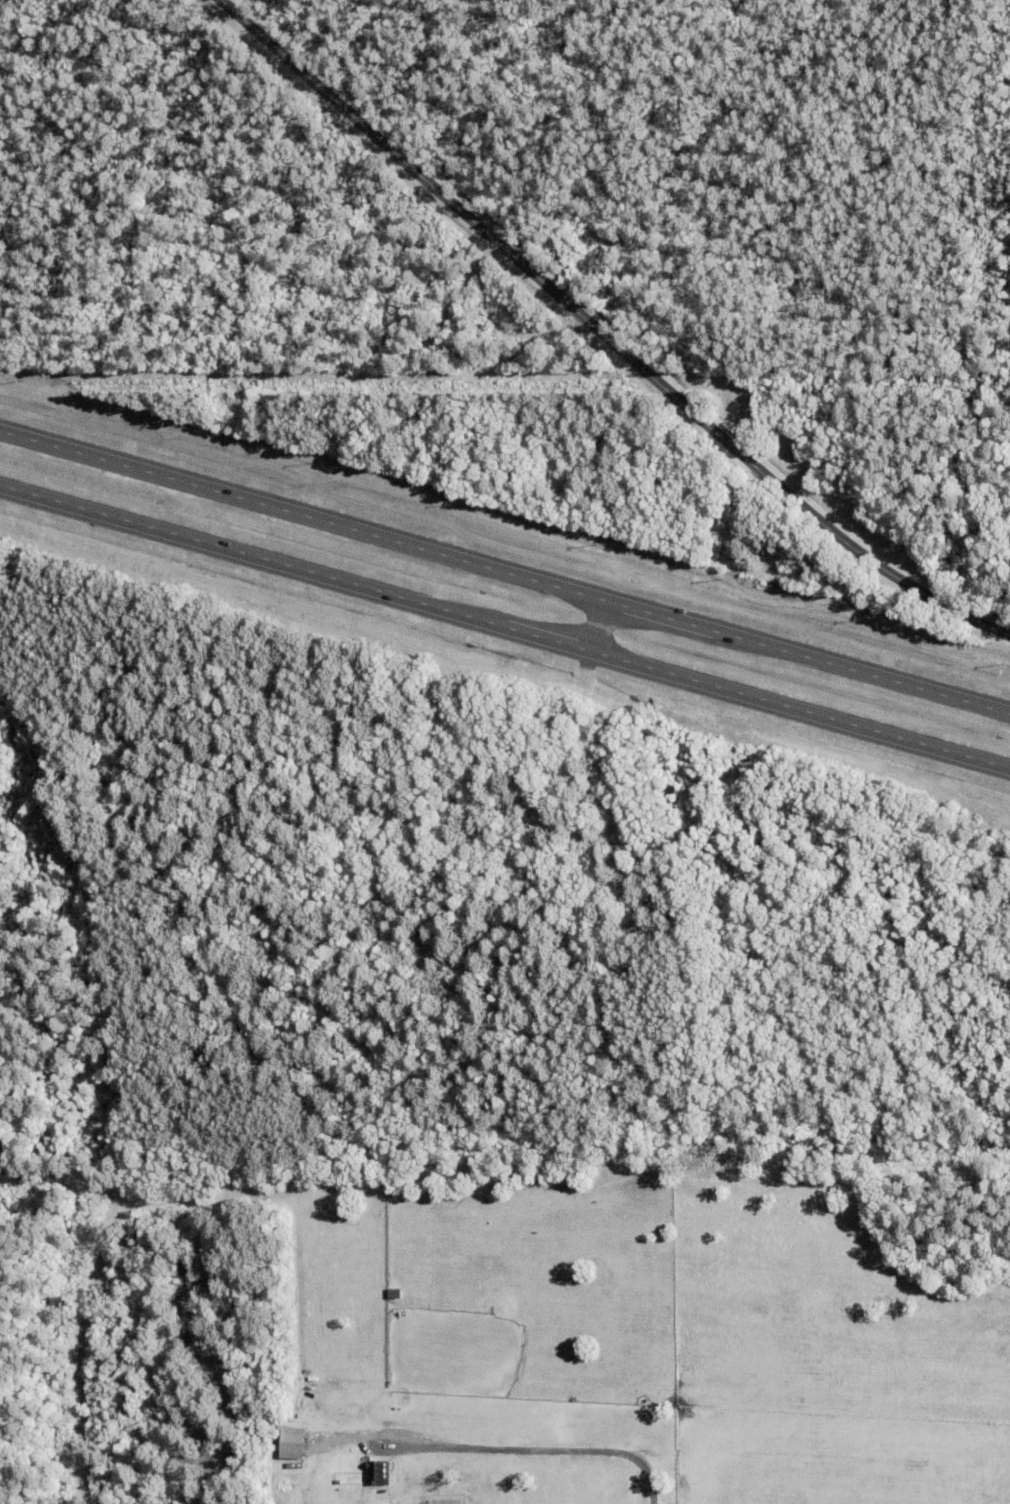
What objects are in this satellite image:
road: (604, 332)
building: (237, 409)
building: (723, 520)
road: (504, 573)
road: (504, 627)
building: (817, 1150)
building: (292, 1442)
road: (543, 1450)
building: (378, 1472)

